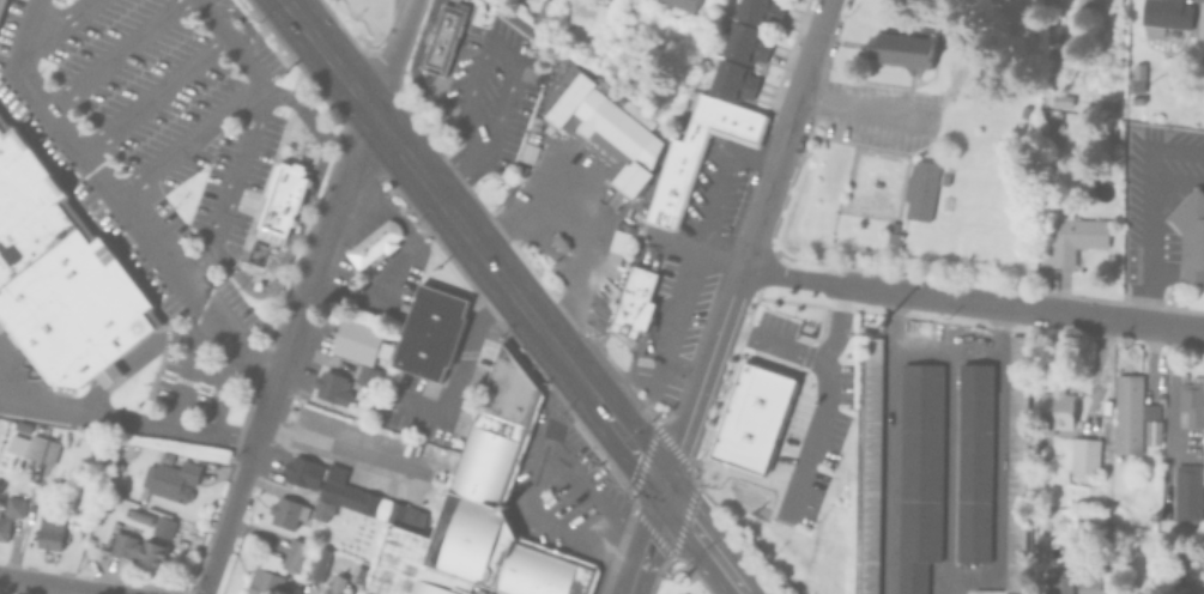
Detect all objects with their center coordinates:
building: (676, 4)
building: (1081, 4)
building: (1053, 5)
building: (1108, 5)
building: (2, 7)
building: (756, 11)
building: (538, 12)
building: (1163, 17)
building: (1200, 20)
road: (56, 26)
building: (442, 40)
building: (740, 43)
road: (483, 49)
building: (899, 50)
road: (117, 55)
road: (328, 57)
road: (394, 57)
road: (807, 61)
building: (727, 80)
road: (153, 97)
road: (504, 97)
building: (996, 99)
building: (1059, 101)
building: (1103, 105)
road: (858, 108)
road: (479, 110)
building: (991, 119)
building: (1054, 133)
parking lot: (153, 134)
building: (607, 135)
building: (533, 137)
road: (184, 139)
road: (244, 146)
building: (526, 153)
building: (695, 154)
road: (461, 158)
building: (516, 170)
road: (718, 183)
building: (918, 190)
road: (117, 202)
building: (282, 205)
road: (1150, 211)
road: (304, 212)
road: (581, 217)
building: (1188, 223)
building: (1073, 235)
building: (559, 242)
building: (616, 244)
building: (373, 248)
road: (694, 253)
building: (60, 274)
road: (345, 295)
road: (519, 301)
building: (634, 301)
road: (969, 303)
road: (725, 304)
road: (671, 322)
road: (836, 326)
building: (429, 337)
building: (357, 340)
road: (937, 344)
road: (284, 353)
road: (461, 363)
road: (132, 364)
road: (187, 372)
building: (364, 375)
building: (332, 386)
road: (825, 388)
road: (222, 394)
building: (1191, 404)
road: (1170, 407)
road: (559, 410)
building: (1053, 410)
building: (749, 411)
building: (1115, 412)
building: (1135, 416)
building: (20, 424)
road: (123, 425)
building: (31, 445)
road: (343, 451)
building: (1083, 455)
building: (972, 457)
building: (870, 461)
building: (1015, 465)
road: (948, 469)
building: (916, 471)
building: (303, 472)
road: (536, 478)
building: (170, 479)
traffic signals: (664, 487)
building: (1186, 492)
building: (496, 502)
road: (673, 504)
building: (321, 509)
building: (10, 511)
building: (286, 511)
building: (49, 532)
road: (646, 540)
building: (138, 548)
road: (730, 550)
building: (295, 554)
road: (701, 559)
building: (317, 563)
building: (398, 563)
building: (1059, 581)
building: (264, 582)
building: (335, 584)
building: (441, 584)
building: (1091, 584)
road: (41, 587)

